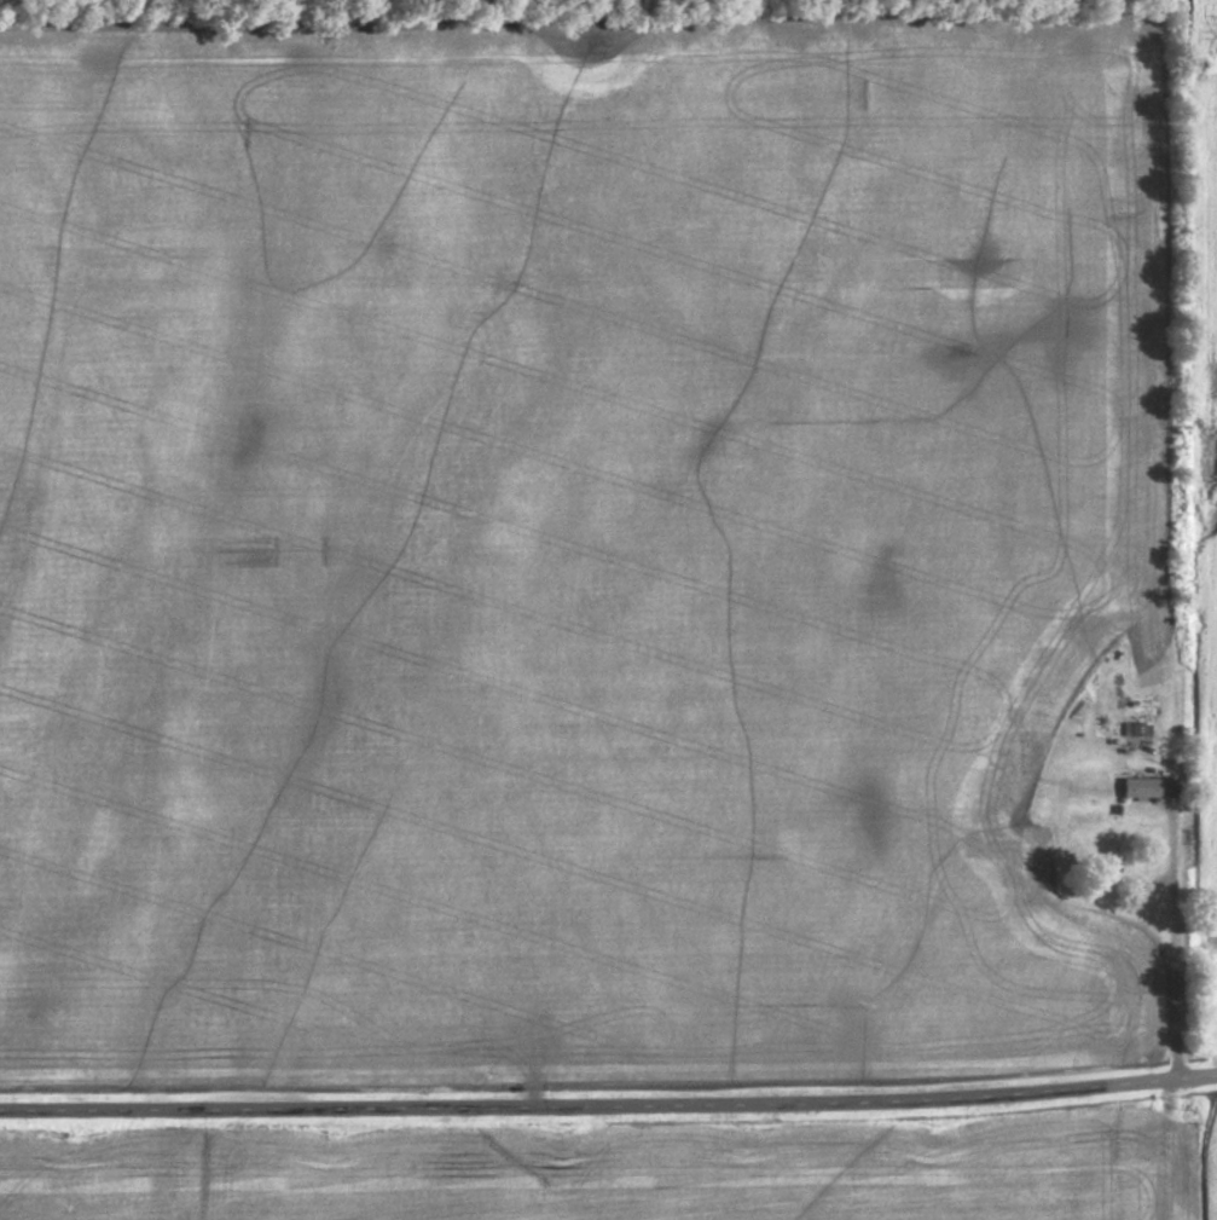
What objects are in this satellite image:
building: (1141, 788)
road: (1170, 1081)
road: (562, 1104)

